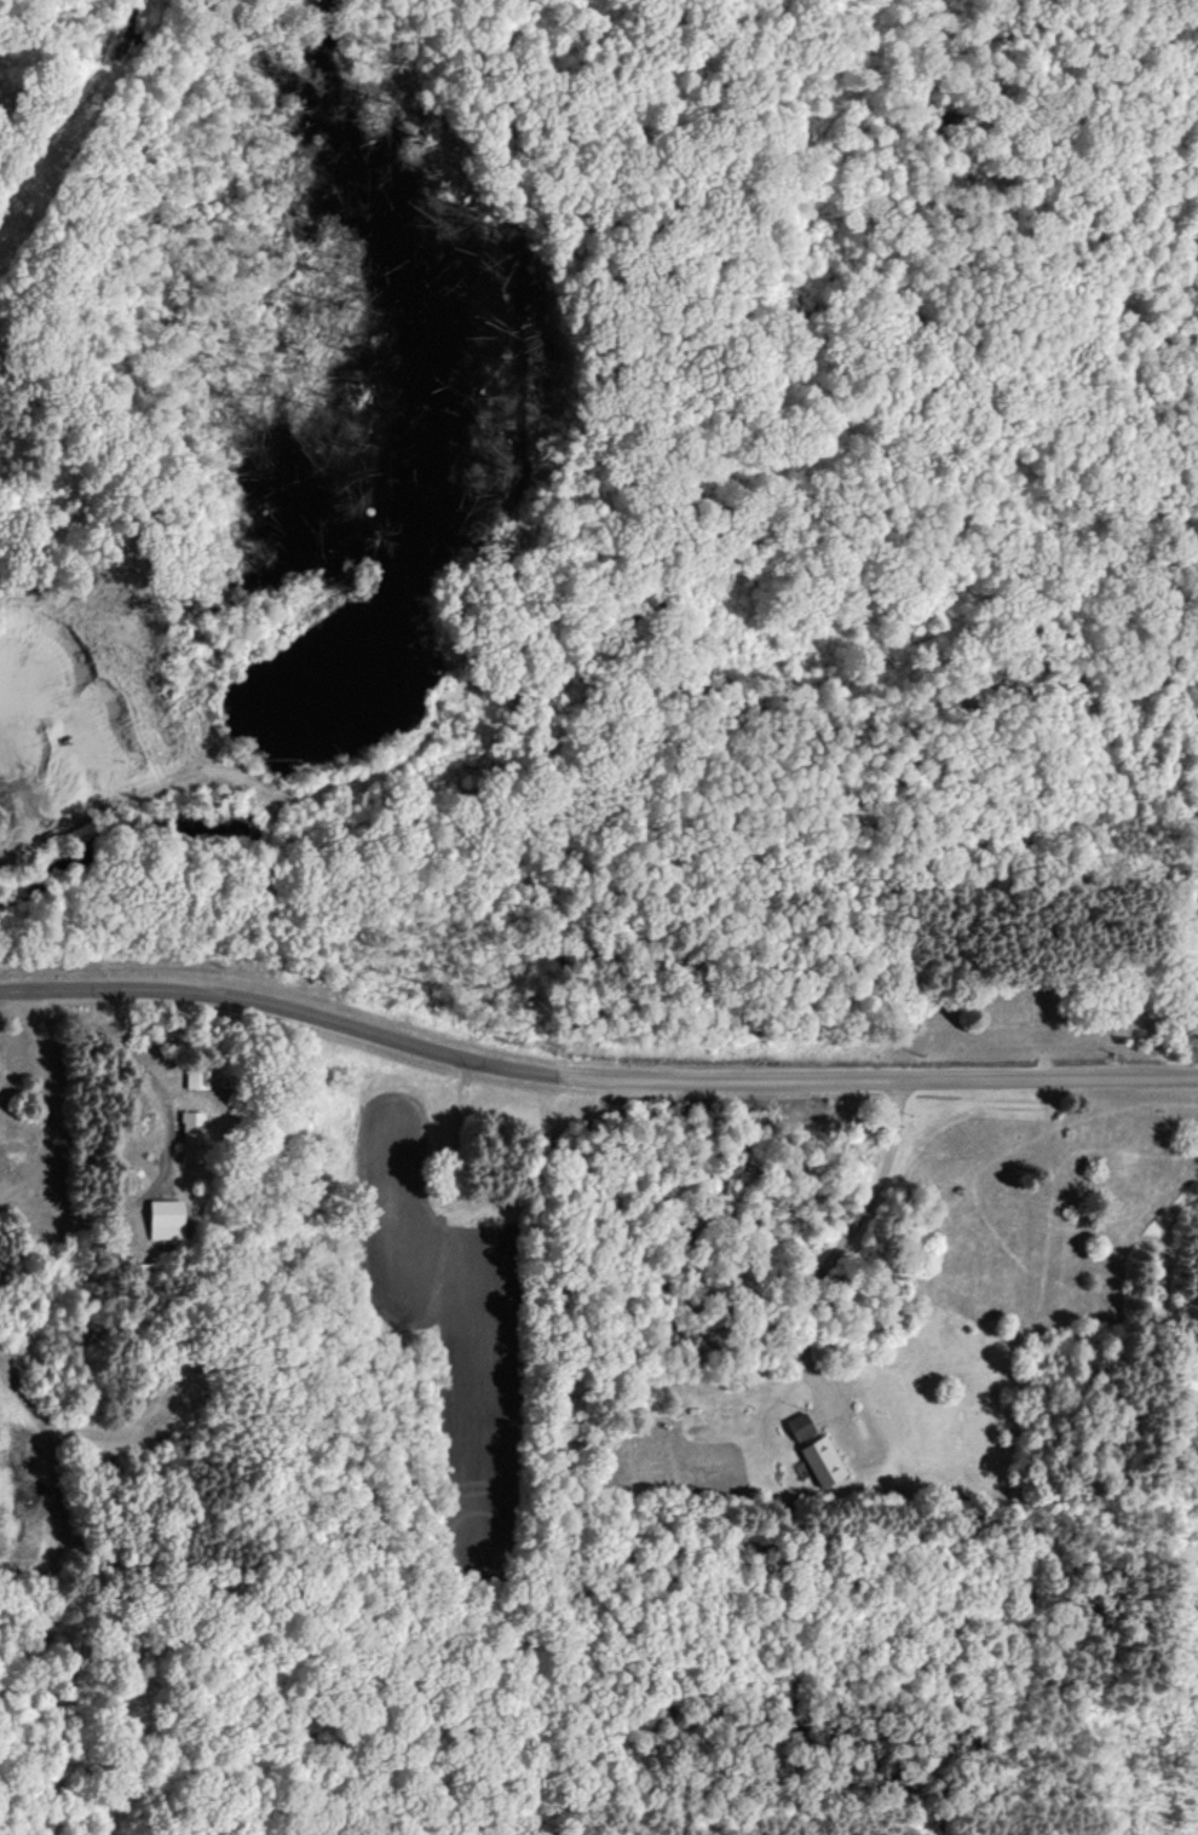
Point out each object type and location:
building: (196, 1076)
road: (592, 1087)
building: (192, 1133)
building: (166, 1218)
road: (847, 1237)
building: (800, 1426)
building: (823, 1460)

